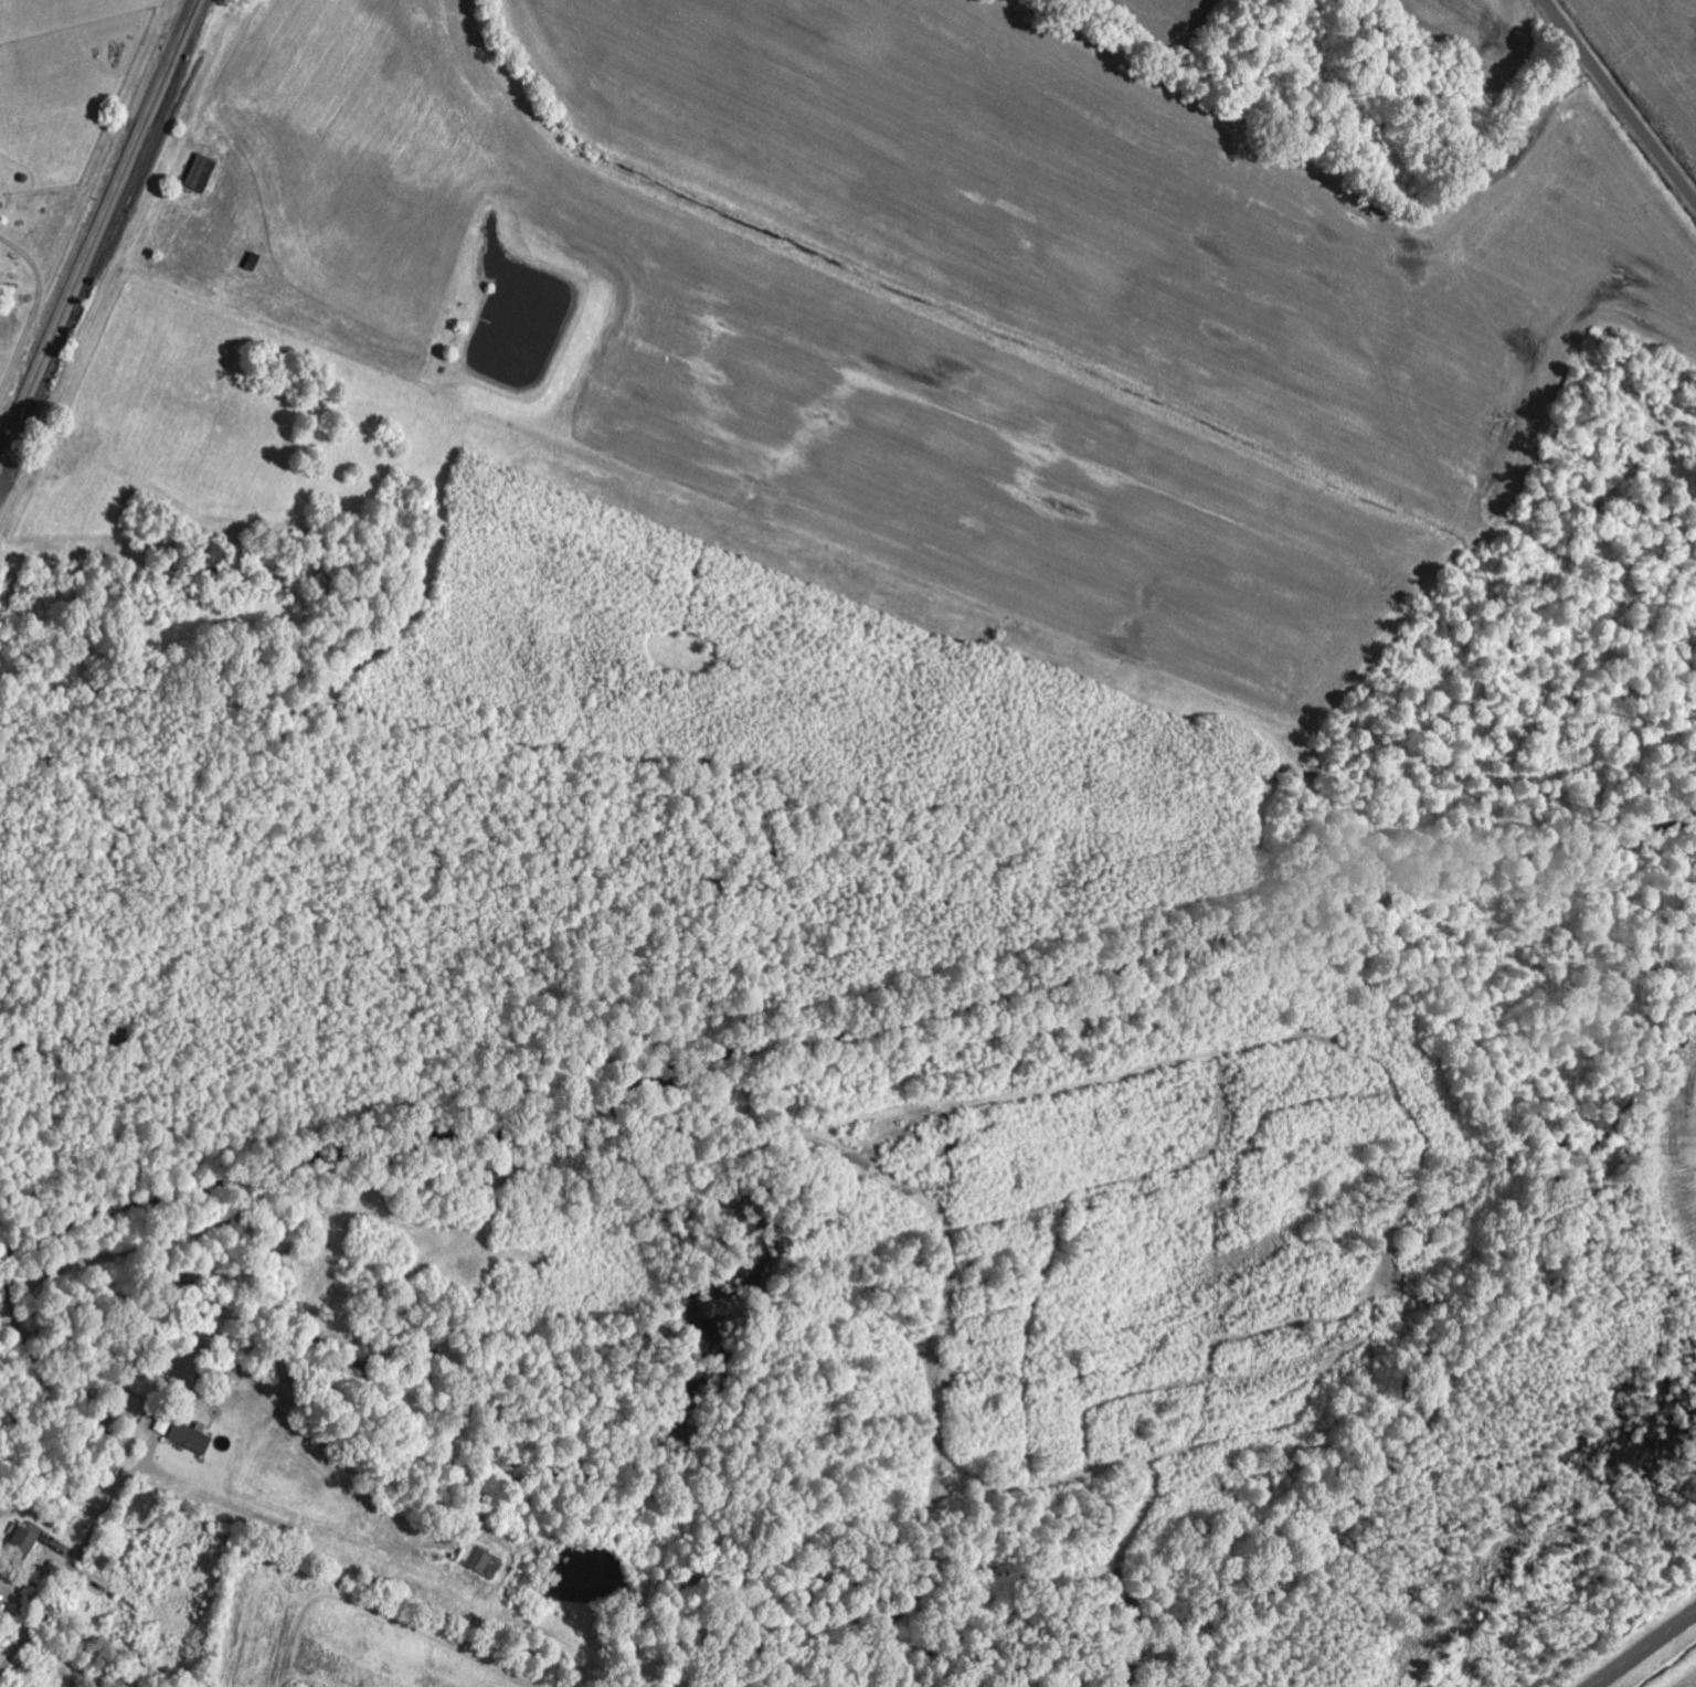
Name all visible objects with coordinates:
road: (1618, 104)
railway: (98, 229)
building: (192, 1439)
building: (25, 1542)
building: (480, 1561)
road: (40, 1614)
road: (1647, 1652)

